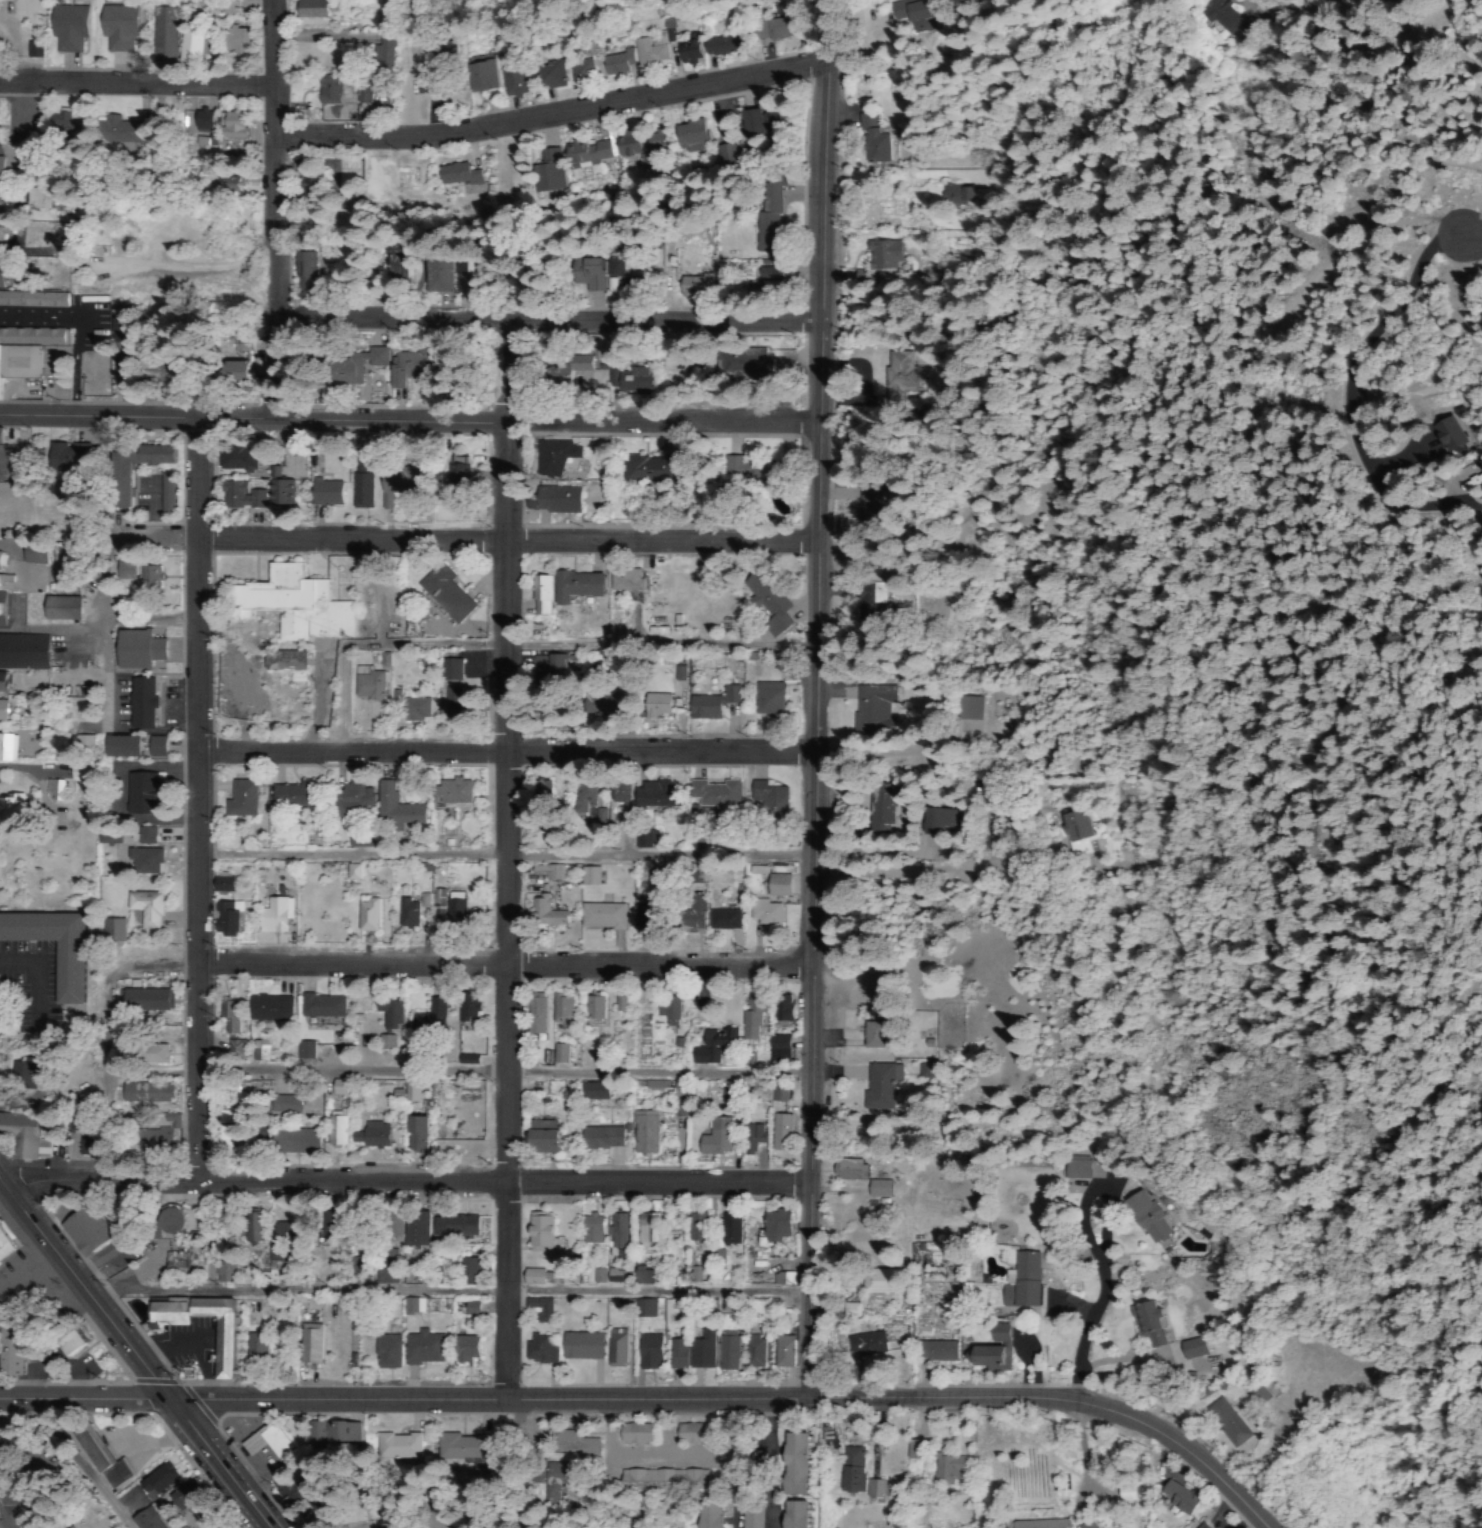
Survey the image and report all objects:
building: (313, 9)
building: (913, 14)
building: (383, 15)
building: (1221, 15)
building: (67, 28)
building: (118, 29)
building: (773, 29)
building: (163, 34)
building: (237, 41)
building: (724, 45)
building: (189, 46)
building: (34, 49)
building: (688, 49)
building: (445, 52)
building: (649, 53)
building: (383, 54)
building: (615, 64)
building: (580, 73)
building: (550, 77)
building: (514, 82)
building: (485, 83)
road: (137, 84)
building: (326, 90)
building: (362, 94)
road: (553, 114)
building: (61, 118)
building: (201, 121)
building: (762, 124)
building: (233, 125)
building: (122, 130)
building: (692, 135)
building: (872, 140)
building: (640, 143)
building: (590, 152)
building: (0, 167)
building: (547, 172)
building: (456, 174)
building: (232, 184)
building: (305, 186)
building: (472, 189)
building: (954, 196)
building: (38, 199)
building: (3, 202)
road: (273, 209)
building: (770, 217)
building: (7, 232)
road: (1473, 232)
building: (882, 255)
building: (304, 264)
building: (404, 267)
building: (615, 268)
building: (585, 273)
building: (767, 273)
building: (438, 274)
building: (0, 275)
building: (470, 276)
building: (692, 287)
building: (32, 298)
road: (547, 321)
building: (22, 360)
building: (365, 362)
building: (742, 364)
road: (1358, 364)
building: (577, 365)
building: (232, 371)
building: (413, 371)
building: (901, 372)
building: (627, 380)
road: (410, 422)
building: (1451, 433)
building: (1, 437)
building: (161, 456)
building: (66, 458)
building: (552, 458)
building: (238, 462)
building: (125, 464)
building: (737, 468)
building: (641, 470)
building: (458, 472)
building: (283, 486)
building: (400, 488)
building: (365, 492)
building: (166, 494)
building: (330, 494)
building: (241, 496)
building: (462, 497)
building: (868, 500)
building: (554, 501)
road: (1419, 505)
road: (506, 540)
building: (33, 556)
building: (126, 571)
building: (150, 577)
building: (627, 581)
building: (576, 587)
building: (448, 594)
building: (873, 594)
building: (542, 596)
building: (769, 603)
building: (298, 605)
building: (65, 609)
building: (415, 627)
building: (140, 651)
building: (22, 652)
building: (284, 661)
building: (550, 665)
building: (2, 683)
building: (372, 685)
building: (454, 692)
building: (770, 699)
road: (817, 699)
building: (142, 703)
building: (714, 704)
building: (658, 705)
building: (605, 706)
building: (973, 709)
building: (6, 710)
building: (416, 710)
building: (878, 711)
building: (84, 743)
building: (6, 744)
building: (138, 747)
road: (504, 753)
building: (82, 777)
building: (54, 789)
building: (540, 790)
building: (452, 791)
building: (142, 793)
building: (716, 793)
building: (356, 794)
building: (582, 794)
building: (616, 794)
building: (656, 795)
building: (294, 796)
road: (192, 798)
building: (243, 799)
building: (771, 800)
building: (11, 808)
building: (396, 808)
building: (883, 810)
building: (600, 816)
building: (945, 822)
building: (1084, 825)
building: (145, 836)
building: (109, 837)
building: (646, 839)
road: (348, 856)
building: (141, 860)
road: (506, 861)
road: (660, 862)
building: (549, 872)
building: (353, 873)
building: (589, 877)
building: (223, 882)
building: (778, 886)
building: (424, 901)
building: (438, 902)
building: (142, 910)
building: (453, 912)
building: (692, 912)
building: (405, 914)
building: (764, 915)
building: (275, 916)
building: (367, 916)
building: (542, 916)
building: (601, 918)
building: (650, 918)
building: (225, 919)
building: (722, 920)
building: (113, 931)
road: (503, 961)
building: (69, 974)
building: (141, 1001)
building: (617, 1004)
building: (783, 1007)
building: (321, 1008)
building: (560, 1008)
building: (594, 1008)
building: (269, 1010)
building: (464, 1011)
building: (664, 1011)
building: (388, 1013)
building: (534, 1013)
building: (229, 1015)
building: (426, 1019)
building: (751, 1019)
building: (874, 1034)
building: (713, 1046)
building: (778, 1048)
building: (232, 1051)
building: (253, 1051)
building: (300, 1051)
building: (560, 1053)
building: (154, 1055)
road: (502, 1073)
building: (22, 1075)
building: (881, 1085)
building: (593, 1091)
building: (412, 1092)
building: (143, 1093)
building: (779, 1094)
building: (282, 1106)
building: (332, 1128)
building: (224, 1130)
building: (643, 1132)
building: (779, 1132)
building: (410, 1133)
building: (372, 1135)
building: (22, 1136)
building: (258, 1136)
building: (544, 1137)
building: (599, 1137)
building: (752, 1137)
building: (715, 1138)
building: (152, 1139)
building: (291, 1141)
building: (849, 1170)
building: (1074, 1170)
road: (405, 1181)
building: (879, 1188)
building: (1146, 1218)
building: (173, 1222)
building: (328, 1226)
building: (776, 1226)
building: (393, 1227)
building: (249, 1228)
building: (452, 1228)
building: (645, 1230)
building: (697, 1230)
building: (728, 1230)
building: (413, 1231)
building: (590, 1231)
building: (616, 1231)
building: (83, 1234)
building: (539, 1234)
building: (281, 1239)
building: (6, 1245)
building: (174, 1263)
building: (0, 1265)
building: (225, 1272)
building: (464, 1272)
building: (599, 1275)
building: (614, 1275)
building: (381, 1277)
building: (529, 1278)
building: (644, 1278)
building: (1024, 1279)
building: (877, 1282)
road: (445, 1293)
road: (1098, 1295)
building: (413, 1306)
building: (539, 1308)
building: (645, 1308)
building: (468, 1309)
building: (1147, 1323)
building: (998, 1332)
building: (69, 1343)
building: (256, 1344)
building: (858, 1344)
building: (310, 1345)
building: (579, 1347)
building: (1193, 1348)
building: (614, 1349)
building: (419, 1350)
building: (537, 1350)
building: (13, 1351)
building: (465, 1351)
building: (784, 1351)
building: (934, 1351)
building: (223, 1352)
building: (382, 1352)
building: (648, 1352)
building: (690, 1353)
building: (725, 1353)
building: (754, 1353)
road: (131, 1354)
building: (990, 1358)
building: (1255, 1397)
road: (1060, 1399)
road: (405, 1401)
building: (1227, 1422)
building: (334, 1432)
building: (635, 1433)
building: (312, 1434)
building: (689, 1434)
building: (262, 1441)
building: (396, 1446)
building: (573, 1446)
building: (466, 1447)
building: (914, 1449)
building: (101, 1460)
building: (798, 1464)
building: (946, 1469)
building: (854, 1473)
building: (555, 1480)
building: (662, 1480)
building: (157, 1481)
building: (876, 1489)
building: (290, 1491)
building: (1125, 1492)
building: (182, 1495)
building: (1178, 1499)
building: (20, 1504)
building: (711, 1515)
building: (797, 1515)
building: (748, 1516)
building: (143, 1521)
building: (1038, 1524)
road: (1, 1525)
building: (208, 1525)
building: (1087, 1525)
building: (67, 1527)
building: (70, 1527)
building: (1204, 1527)

